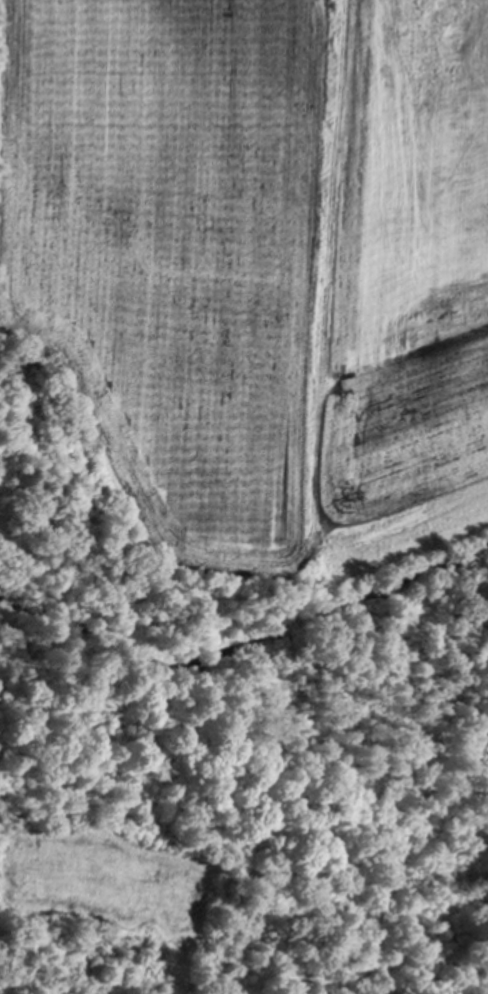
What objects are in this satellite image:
crop: (255, 271)

